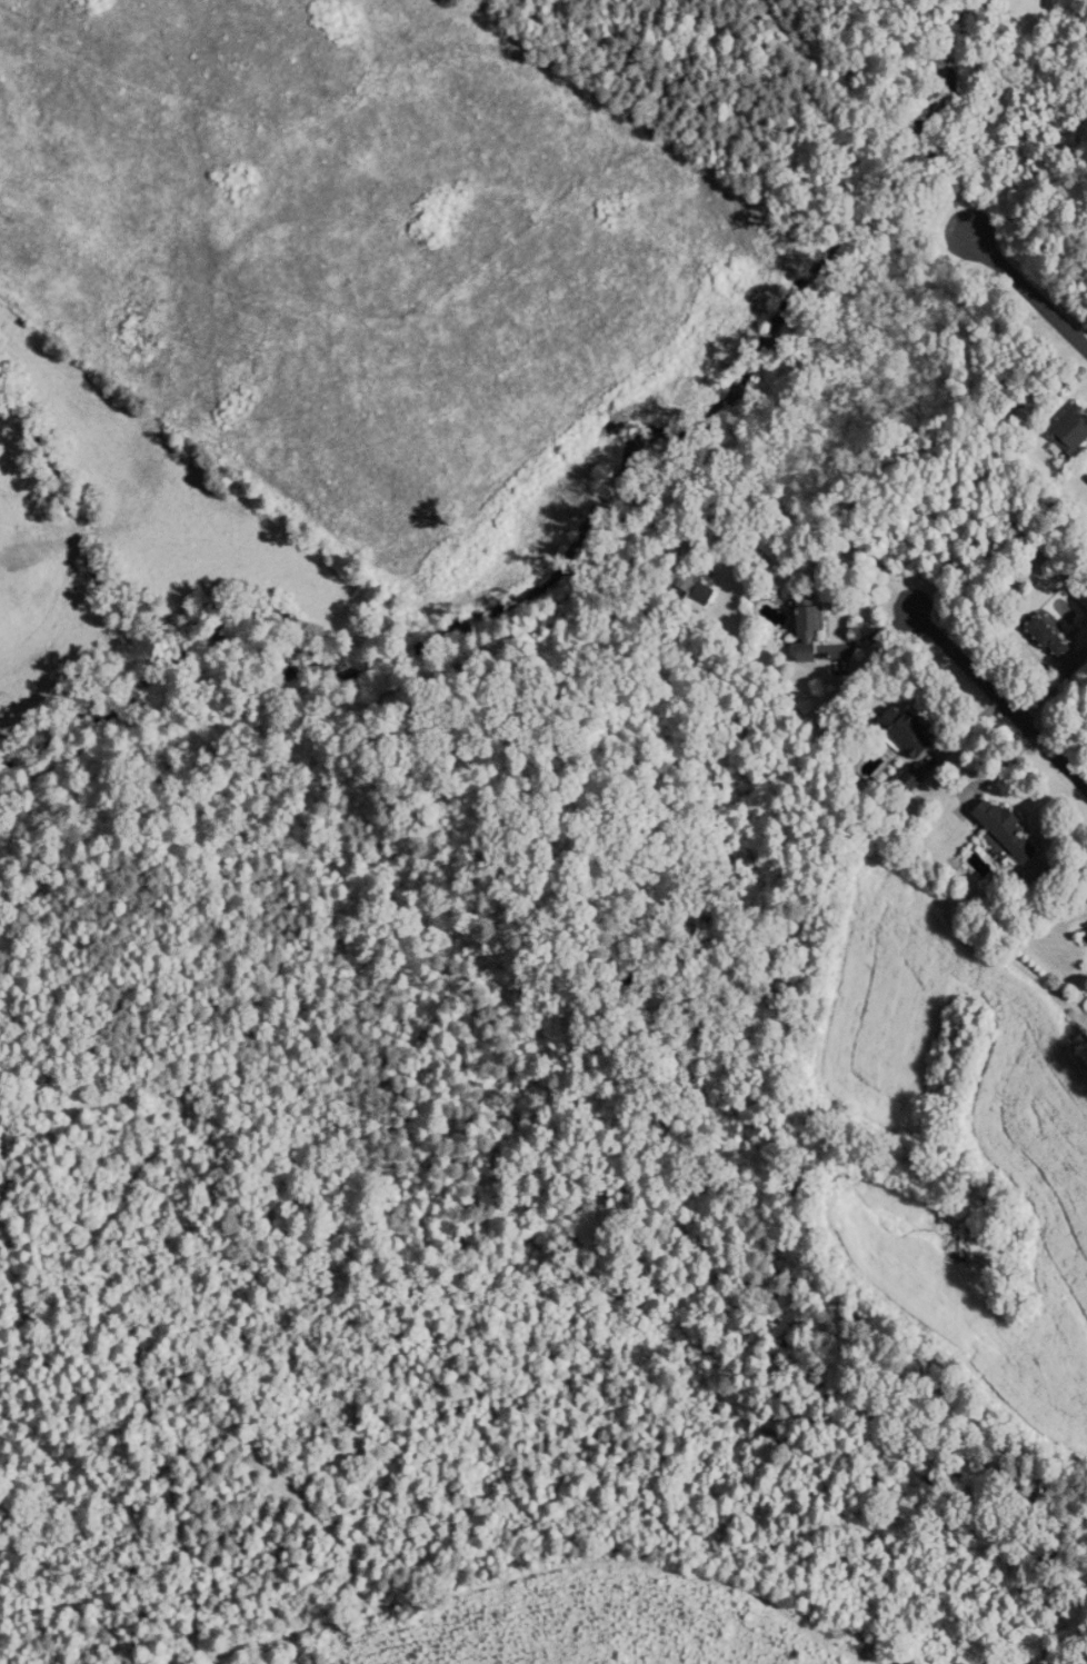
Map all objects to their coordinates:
road: (1024, 288)
building: (1074, 431)
building: (684, 580)
building: (815, 634)
building: (1055, 638)
road: (997, 697)
building: (913, 733)
building: (1014, 833)

